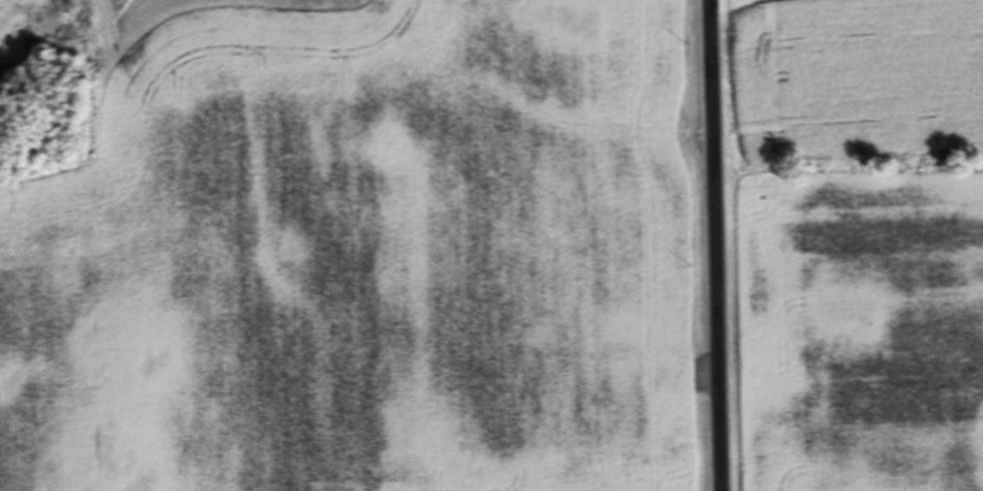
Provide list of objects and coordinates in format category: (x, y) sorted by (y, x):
road: (713, 245)

